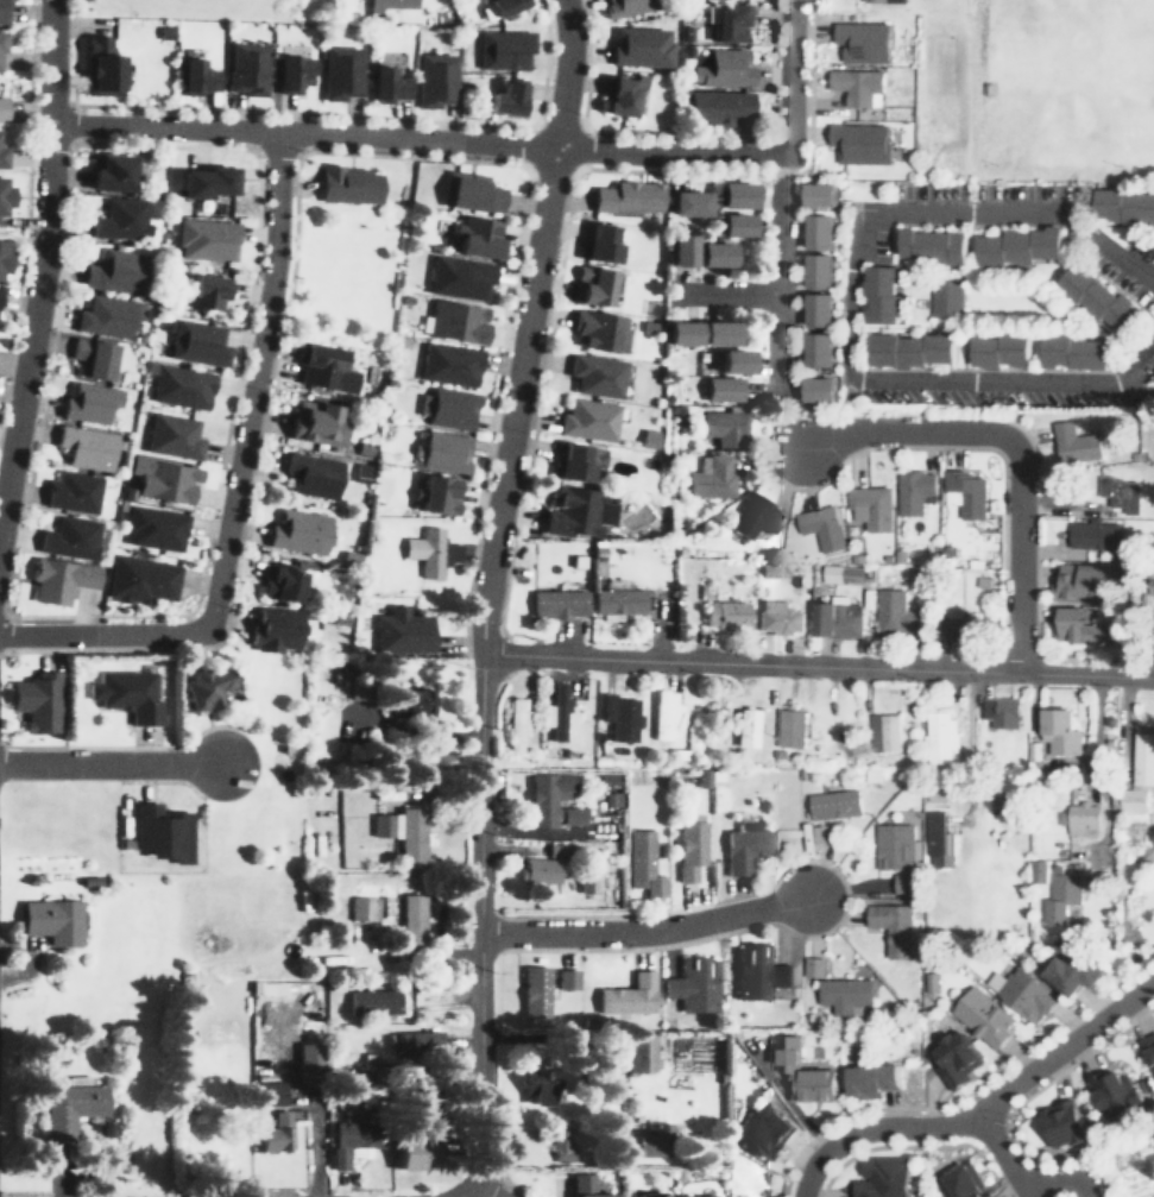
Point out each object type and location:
building: (884, 0)
building: (386, 5)
building: (506, 5)
building: (625, 7)
building: (4, 11)
building: (730, 21)
building: (1, 40)
building: (862, 40)
building: (641, 46)
building: (504, 49)
building: (101, 67)
building: (247, 68)
building: (723, 68)
building: (341, 71)
building: (292, 73)
building: (196, 77)
road: (787, 77)
building: (435, 78)
park: (1062, 81)
building: (387, 84)
building: (857, 84)
building: (625, 95)
building: (505, 96)
building: (718, 106)
building: (2, 107)
road: (317, 113)
road: (740, 136)
road: (417, 139)
building: (859, 143)
building: (2, 156)
road: (513, 160)
building: (112, 172)
building: (209, 181)
building: (348, 184)
building: (4, 194)
building: (736, 195)
building: (819, 195)
building: (628, 196)
road: (30, 202)
building: (688, 203)
building: (1124, 206)
building: (121, 219)
building: (734, 225)
building: (618, 232)
building: (819, 233)
building: (207, 238)
building: (479, 238)
road: (971, 241)
building: (599, 242)
building: (1020, 246)
building: (581, 247)
building: (932, 247)
building: (681, 250)
building: (713, 253)
building: (4, 258)
road: (1068, 259)
road: (44, 266)
building: (118, 271)
building: (818, 271)
road: (984, 273)
road: (770, 275)
park: (347, 276)
building: (460, 277)
building: (594, 285)
building: (207, 291)
road: (727, 291)
road: (849, 294)
building: (882, 294)
building: (1098, 297)
building: (946, 298)
building: (818, 309)
road: (927, 311)
building: (107, 316)
road: (1071, 317)
building: (454, 321)
road: (550, 321)
road: (932, 326)
road: (57, 327)
road: (507, 327)
road: (529, 327)
road: (1054, 328)
building: (600, 330)
building: (680, 333)
building: (717, 333)
building: (197, 342)
building: (818, 349)
building: (909, 349)
building: (1001, 349)
building: (1073, 349)
building: (94, 358)
building: (733, 361)
building: (449, 364)
building: (324, 368)
building: (597, 374)
building: (1153, 378)
building: (181, 386)
building: (723, 388)
building: (819, 390)
building: (89, 402)
building: (448, 407)
building: (588, 420)
building: (316, 423)
building: (725, 427)
building: (174, 435)
building: (649, 437)
building: (1074, 445)
building: (87, 447)
road: (1014, 448)
building: (444, 452)
building: (573, 462)
building: (311, 474)
road: (219, 475)
building: (713, 477)
building: (164, 479)
road: (235, 484)
building: (74, 491)
building: (914, 491)
building: (1120, 492)
building: (964, 493)
building: (439, 494)
building: (870, 506)
road: (251, 509)
building: (576, 512)
building: (756, 516)
building: (821, 527)
building: (156, 528)
building: (298, 531)
building: (1095, 535)
building: (70, 536)
building: (425, 550)
building: (452, 552)
building: (843, 573)
building: (59, 579)
building: (140, 579)
building: (1152, 581)
building: (280, 582)
building: (1079, 582)
building: (617, 599)
building: (560, 604)
building: (726, 613)
building: (894, 613)
building: (778, 617)
building: (953, 622)
building: (1079, 628)
building: (275, 630)
building: (402, 631)
road: (547, 655)
building: (204, 688)
building: (126, 694)
building: (37, 701)
building: (409, 703)
building: (556, 711)
building: (1001, 711)
building: (664, 714)
building: (620, 717)
building: (517, 723)
building: (746, 727)
building: (790, 729)
building: (884, 732)
building: (1059, 732)
building: (940, 736)
road: (127, 746)
road: (108, 762)
building: (1139, 777)
road: (165, 780)
building: (548, 796)
building: (834, 805)
building: (572, 814)
building: (1083, 819)
building: (162, 831)
building: (404, 833)
building: (934, 838)
building: (690, 845)
building: (893, 846)
building: (748, 848)
building: (643, 863)
building: (538, 869)
building: (1038, 870)
building: (1061, 894)
building: (361, 907)
building: (412, 918)
building: (52, 919)
building: (893, 926)
road: (644, 931)
building: (813, 965)
building: (758, 970)
building: (1072, 971)
building: (567, 977)
building: (694, 984)
building: (536, 990)
building: (1022, 991)
building: (844, 993)
building: (629, 994)
building: (373, 1000)
building: (983, 1015)
building: (417, 1042)
building: (1148, 1050)
building: (641, 1051)
building: (308, 1054)
building: (956, 1057)
building: (803, 1070)
building: (870, 1078)
building: (537, 1082)
building: (271, 1092)
building: (1115, 1092)
building: (71, 1105)
road: (979, 1117)
building: (1061, 1122)
building: (764, 1129)
building: (278, 1132)
building: (354, 1134)
building: (651, 1139)
building: (416, 1145)
building: (1130, 1159)
road: (1009, 1163)
building: (883, 1177)
building: (963, 1180)
building: (586, 1186)
road: (464, 1195)
road: (468, 1195)
road: (475, 1195)
building: (647, 1195)
building: (696, 1196)

